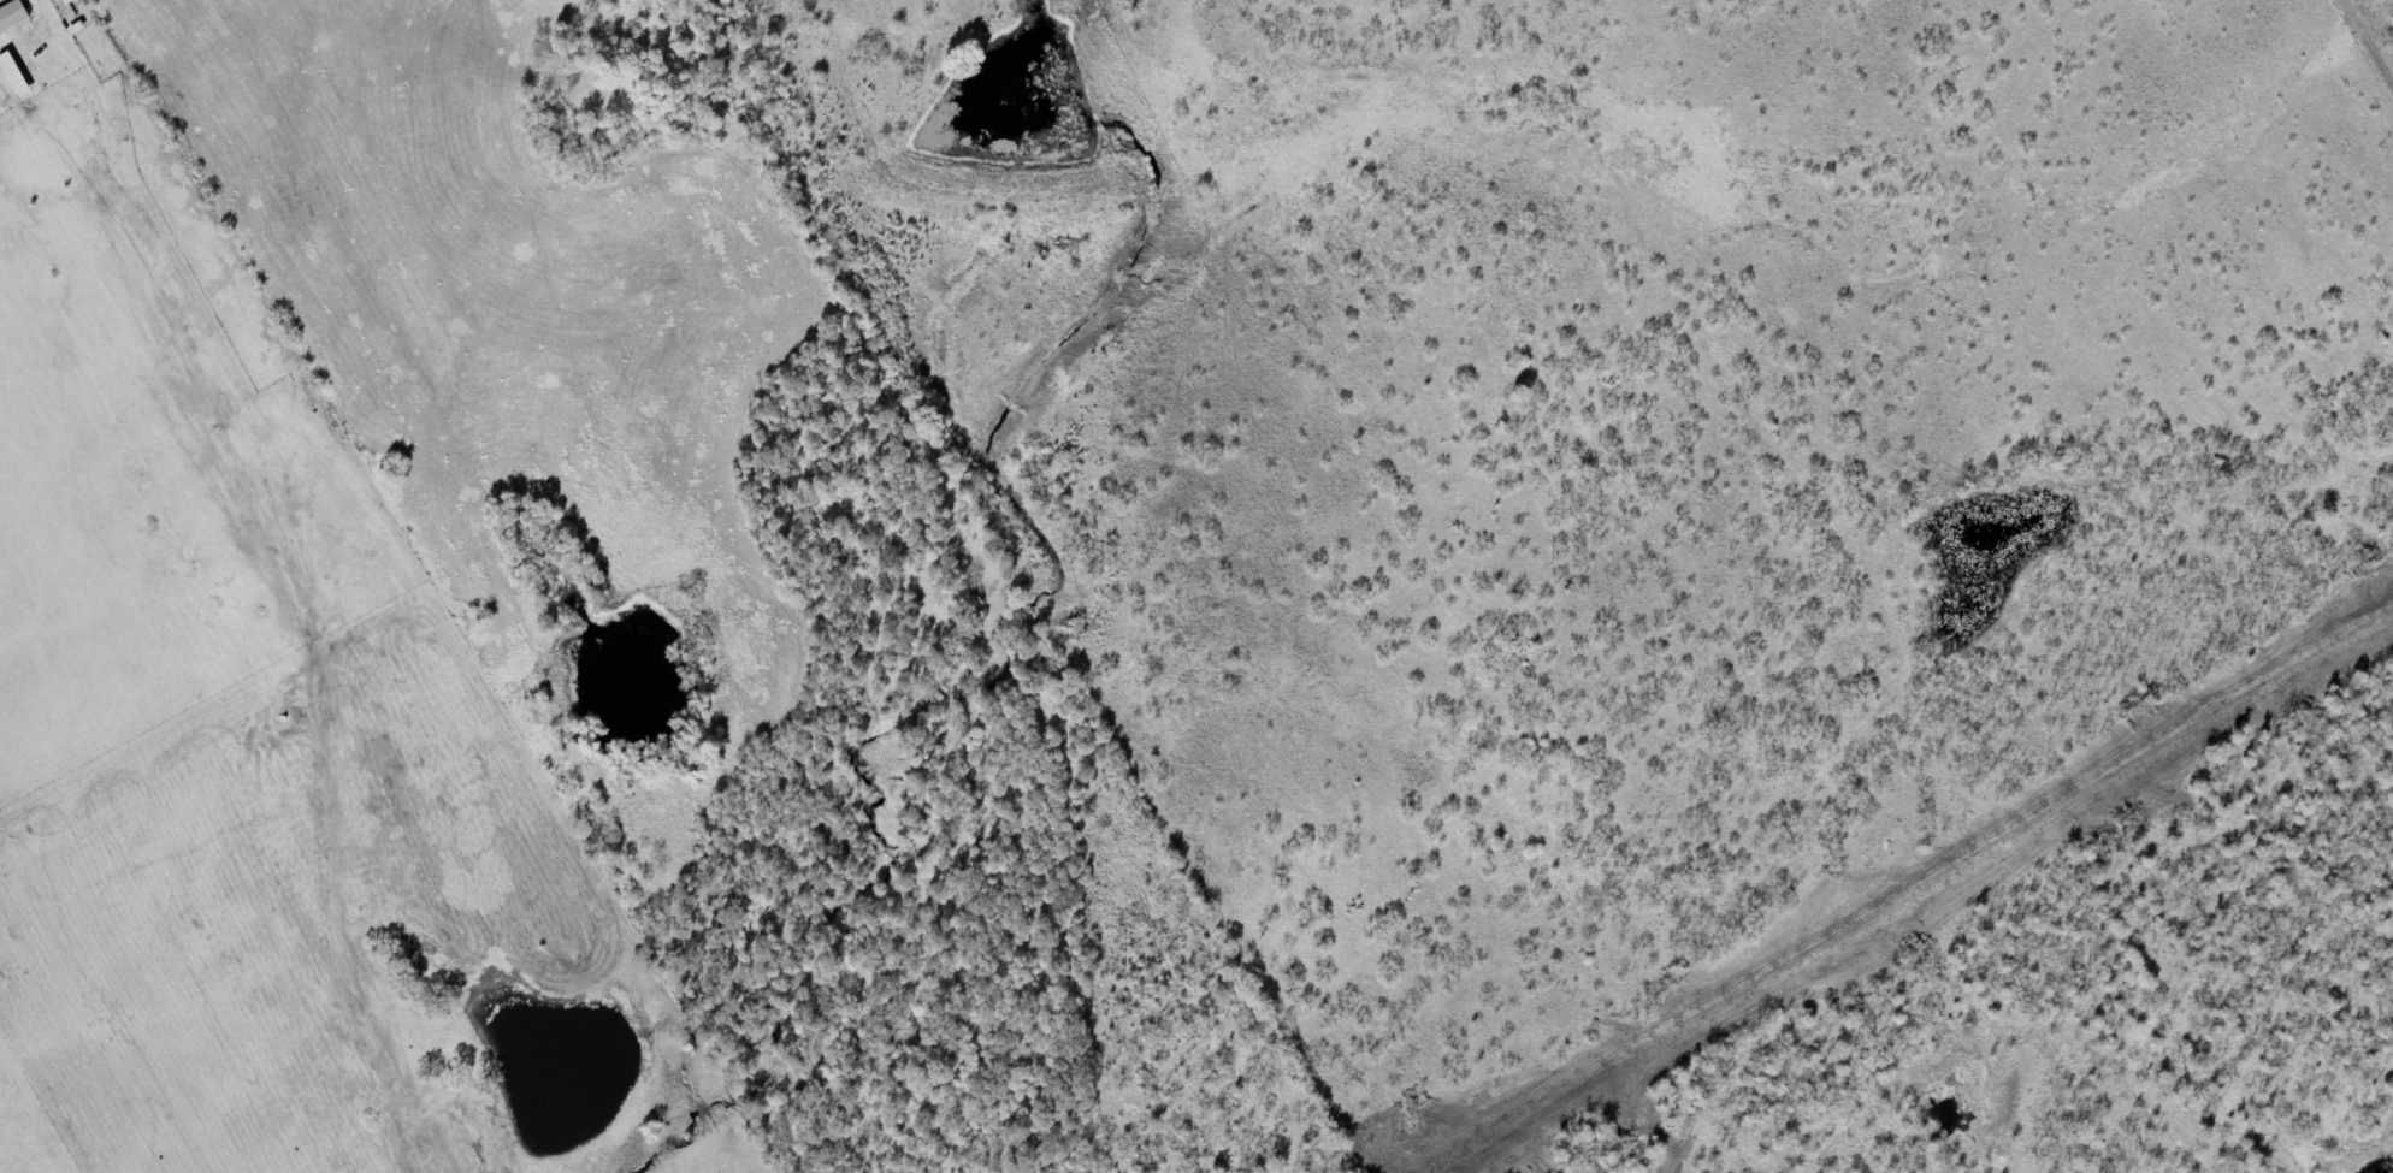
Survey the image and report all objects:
building: (12, 17)
road: (126, 149)

